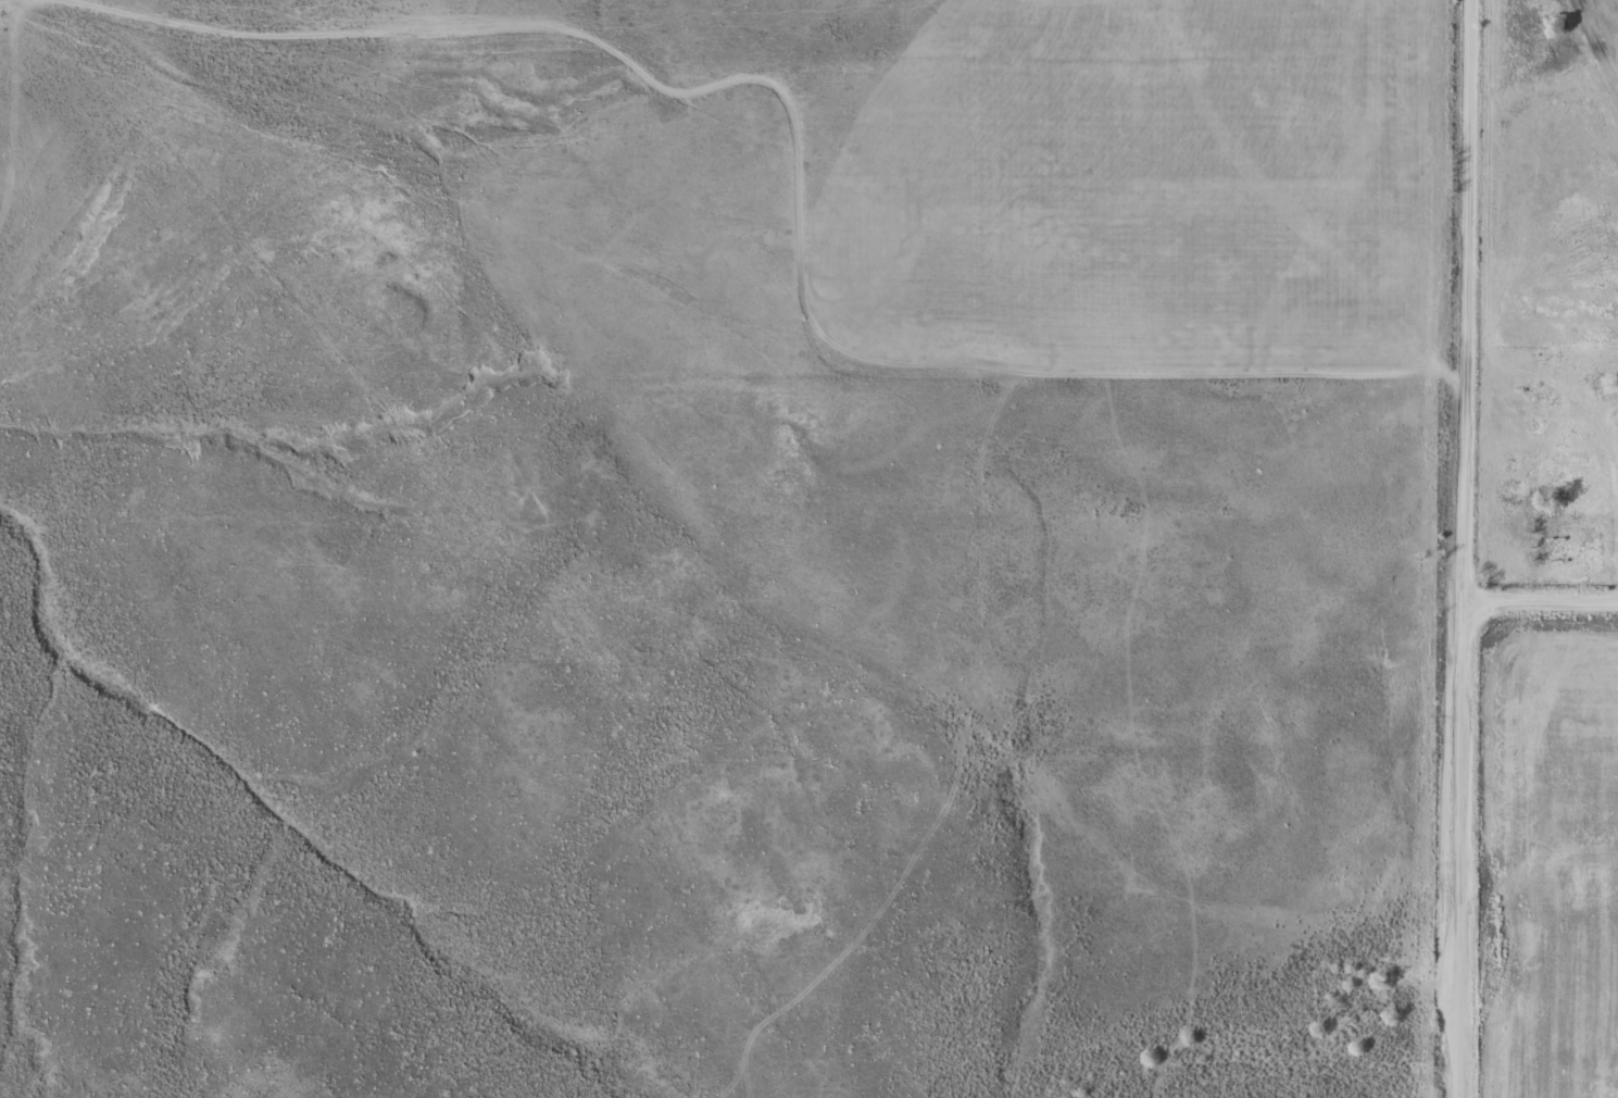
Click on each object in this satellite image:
road: (1468, 549)
road: (1543, 598)

